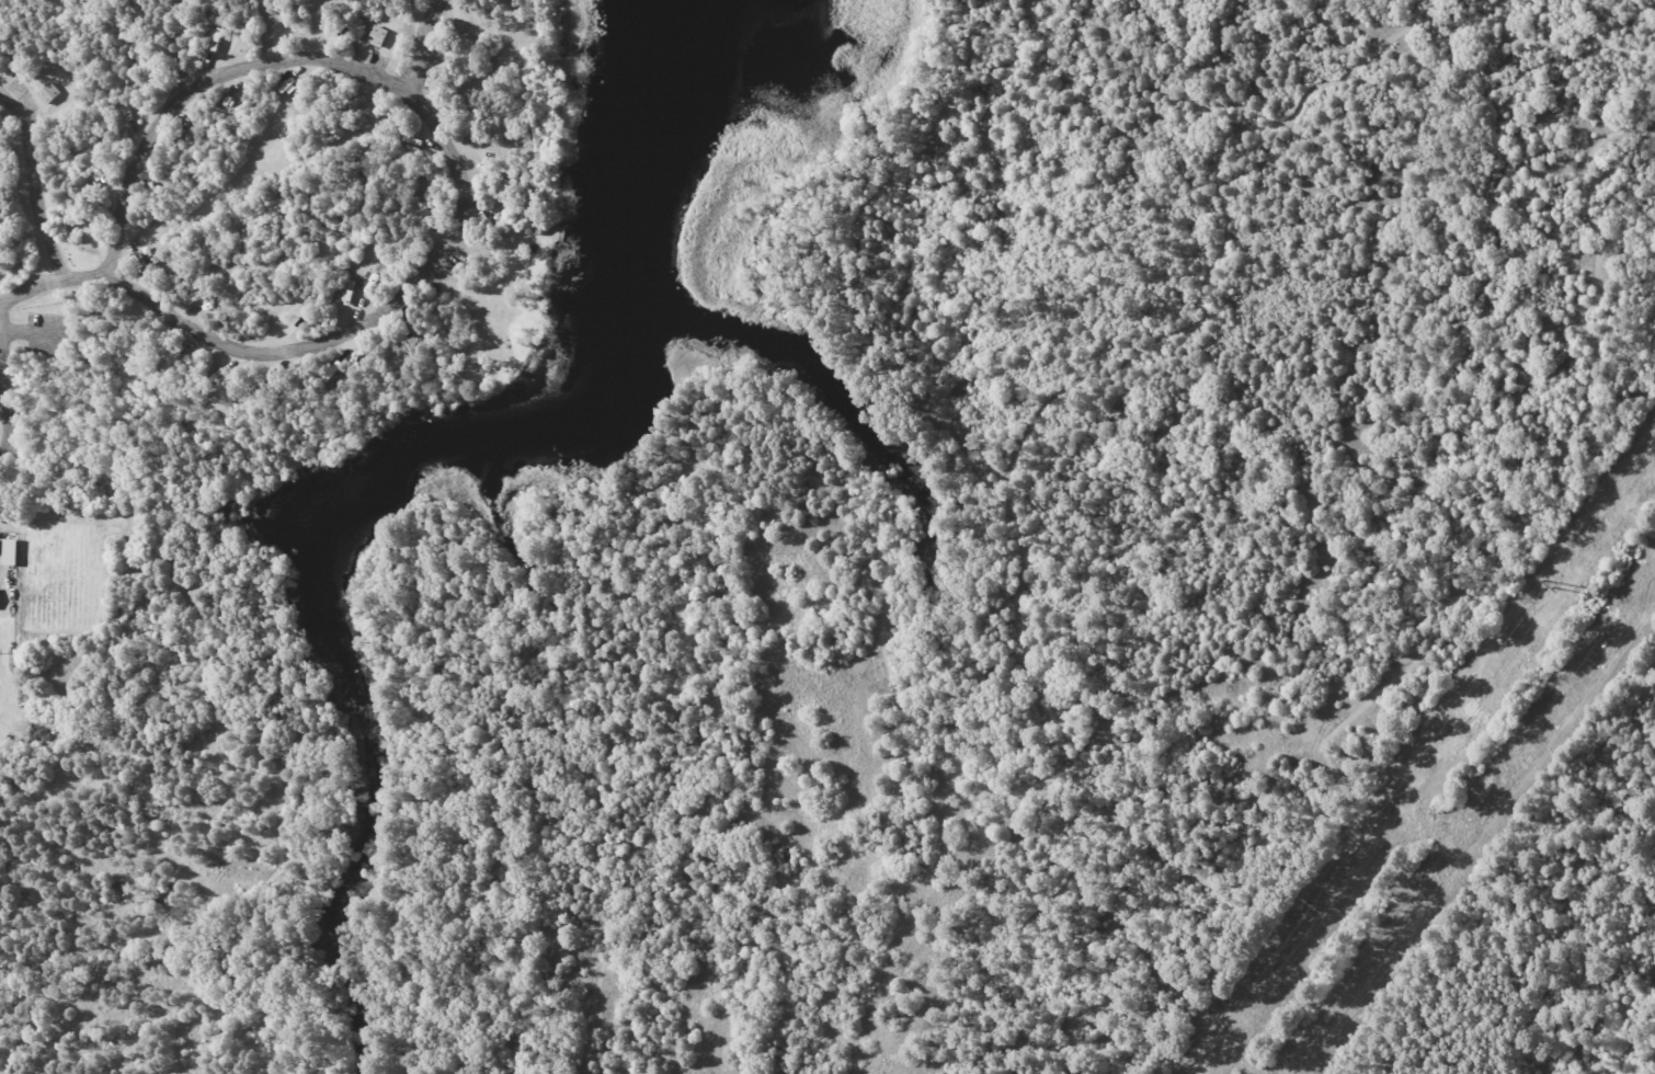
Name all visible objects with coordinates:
building: (376, 36)
road: (1570, 44)
road: (427, 46)
building: (48, 93)
road: (440, 139)
road: (38, 190)
road: (52, 279)
road: (2, 410)
road: (1025, 459)
road: (822, 505)
power tower: (1548, 584)
road: (178, 637)
road: (1337, 732)
power tower: (1311, 909)

